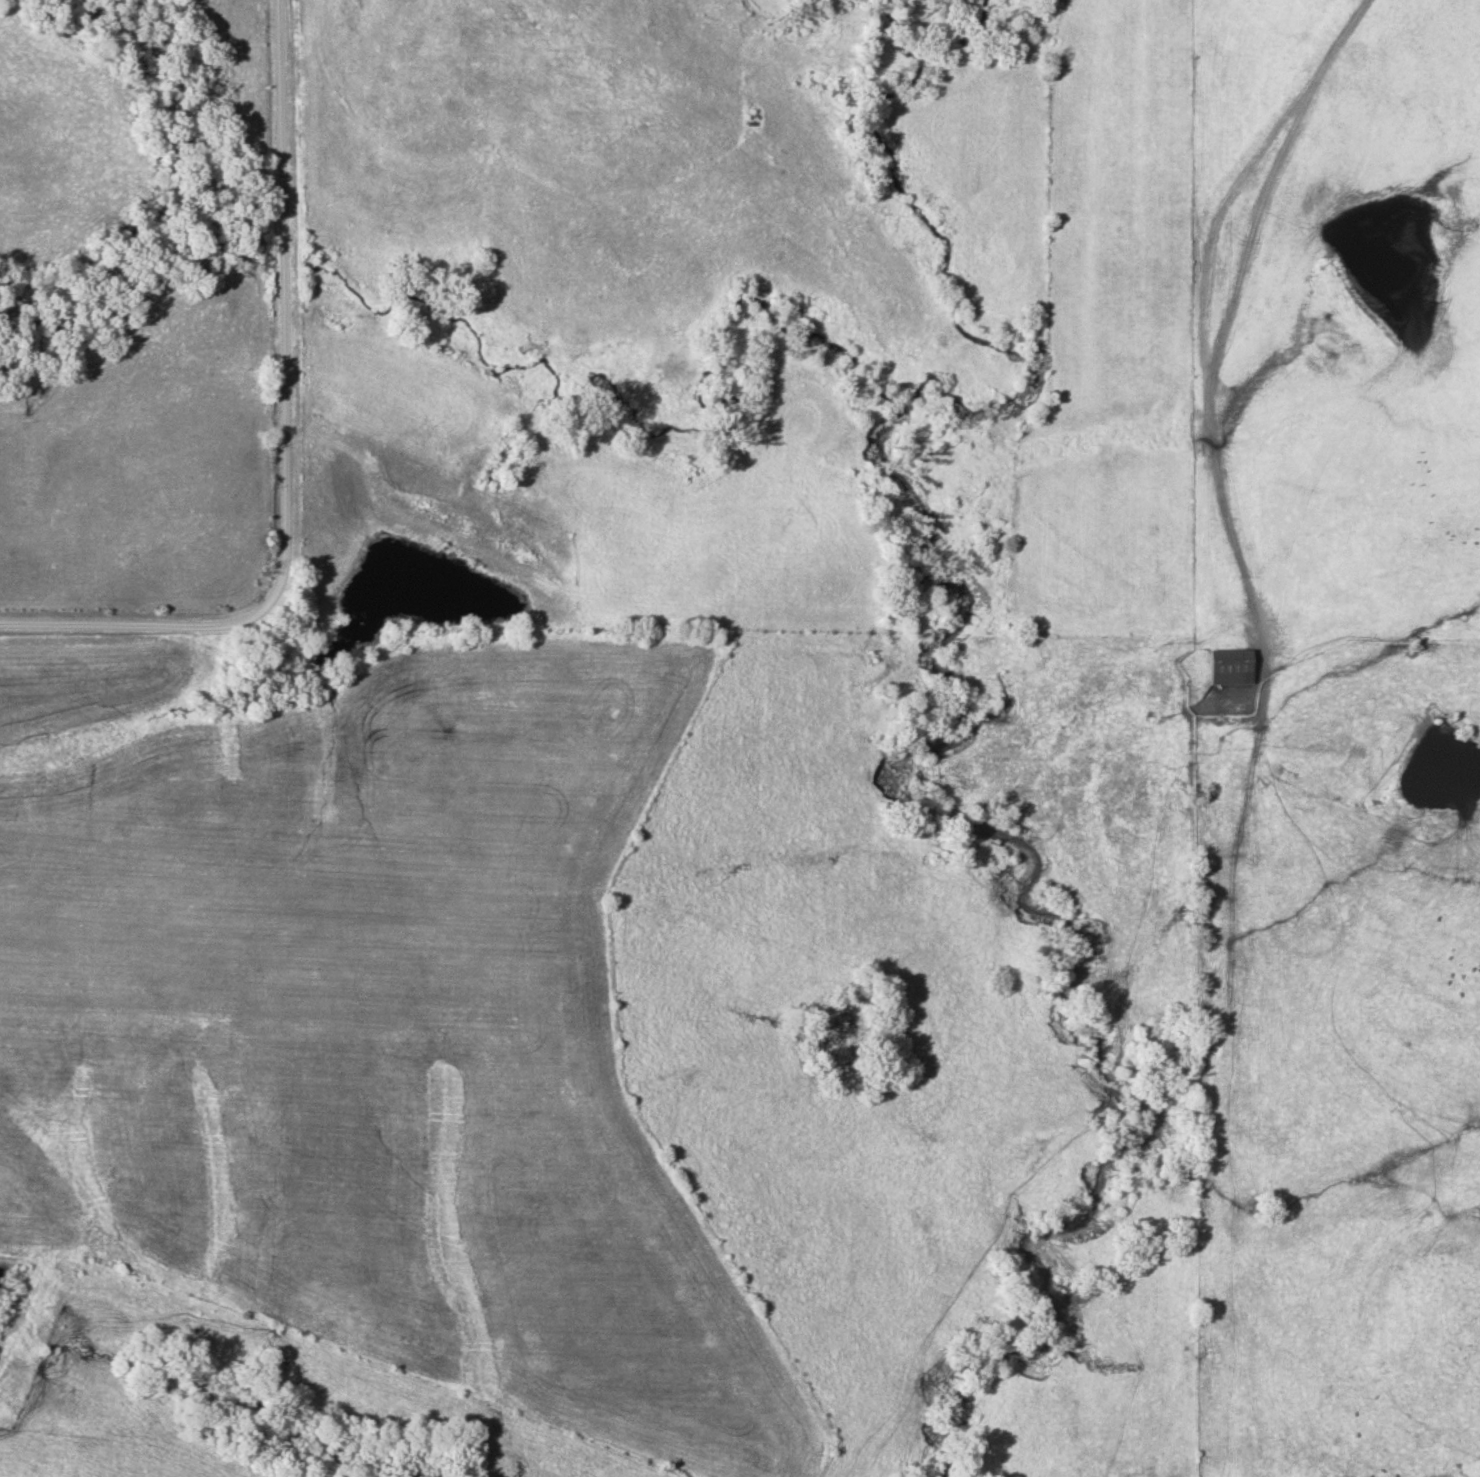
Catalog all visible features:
road: (285, 441)
building: (1233, 666)

